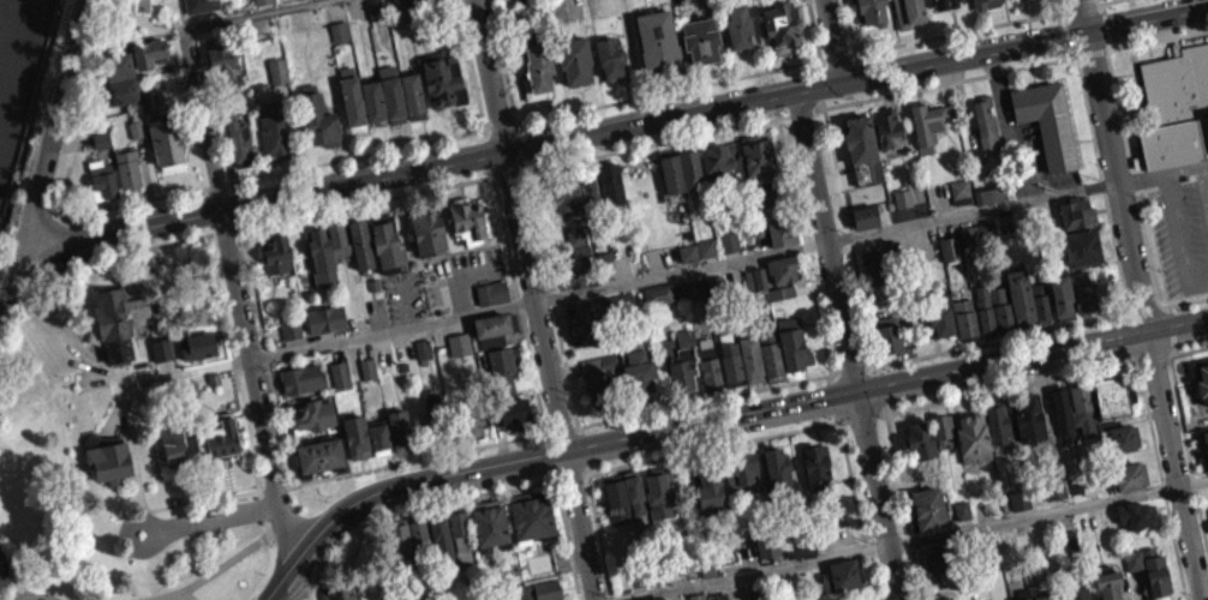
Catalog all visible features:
building: (166, 0)
building: (307, 0)
building: (498, 0)
building: (522, 0)
building: (1015, 0)
building: (263, 1)
building: (426, 1)
road: (1106, 1)
building: (1107, 1)
building: (944, 2)
road: (1098, 2)
building: (202, 4)
building: (979, 4)
road: (1068, 4)
river: (0, 6)
road: (1083, 6)
road: (1070, 8)
road: (1098, 10)
building: (872, 11)
building: (908, 12)
road: (251, 14)
road: (1062, 14)
building: (397, 16)
building: (372, 17)
building: (740, 23)
building: (783, 23)
road: (850, 26)
building: (340, 30)
road: (815, 30)
road: (962, 30)
road: (1102, 34)
road: (1066, 35)
building: (702, 36)
building: (658, 38)
building: (336, 40)
road: (835, 40)
building: (150, 50)
road: (1106, 52)
road: (853, 53)
road: (1072, 54)
building: (611, 55)
road: (838, 56)
road: (1077, 56)
building: (221, 58)
building: (575, 58)
road: (1090, 58)
road: (824, 59)
road: (1104, 59)
flagpole: (1147, 60)
building: (146, 61)
road: (500, 61)
building: (120, 64)
road: (1076, 64)
road: (470, 65)
road: (1105, 65)
building: (538, 70)
building: (276, 71)
building: (384, 80)
building: (443, 80)
traffic signals: (843, 80)
building: (121, 89)
road: (666, 91)
road: (179, 94)
building: (414, 95)
building: (395, 97)
building: (153, 98)
building: (353, 101)
building: (375, 101)
road: (80, 107)
road: (712, 107)
road: (818, 108)
road: (800, 112)
road: (59, 114)
building: (1173, 114)
road: (783, 115)
building: (322, 119)
building: (1047, 120)
building: (985, 121)
road: (510, 124)
building: (927, 124)
road: (498, 126)
building: (137, 127)
building: (887, 127)
road: (485, 128)
road: (1006, 130)
building: (102, 138)
building: (859, 138)
building: (274, 139)
road: (73, 142)
building: (241, 142)
building: (168, 143)
road: (651, 143)
building: (98, 149)
road: (352, 156)
building: (758, 156)
building: (718, 160)
parking lot: (1033, 161)
building: (128, 164)
building: (680, 169)
road: (520, 170)
road: (507, 173)
road: (495, 175)
building: (102, 178)
road: (148, 179)
road: (1161, 180)
building: (610, 181)
road: (214, 184)
building: (592, 186)
road: (1130, 188)
building: (961, 191)
building: (586, 194)
building: (867, 194)
building: (989, 194)
road: (1143, 196)
building: (903, 197)
building: (567, 198)
road: (1202, 199)
building: (958, 200)
road: (364, 202)
road: (118, 203)
building: (987, 204)
building: (761, 206)
building: (901, 208)
building: (1076, 211)
building: (865, 215)
building: (468, 221)
building: (862, 226)
road: (225, 230)
building: (776, 230)
building: (986, 230)
parking lot: (1182, 233)
building: (429, 234)
building: (576, 234)
road: (849, 235)
building: (968, 235)
road: (12, 238)
road: (101, 238)
building: (340, 240)
building: (730, 240)
road: (824, 241)
building: (389, 242)
road: (827, 242)
road: (1176, 242)
building: (363, 245)
building: (574, 245)
road: (803, 245)
building: (707, 246)
building: (891, 246)
building: (1082, 246)
building: (950, 247)
road: (35, 250)
building: (582, 251)
building: (726, 251)
building: (688, 252)
building: (277, 253)
road: (118, 254)
building: (704, 257)
building: (322, 258)
building: (947, 258)
building: (605, 259)
building: (686, 262)
building: (871, 265)
building: (782, 268)
building: (604, 269)
road: (476, 270)
building: (574, 272)
parking lot: (459, 274)
road: (456, 280)
road: (1148, 281)
building: (375, 283)
building: (694, 287)
building: (1083, 289)
building: (781, 290)
building: (491, 292)
building: (662, 292)
building: (757, 293)
building: (1062, 293)
building: (1021, 295)
parking lot: (403, 296)
road: (237, 298)
road: (549, 298)
building: (690, 298)
road: (405, 299)
road: (532, 299)
road: (1136, 300)
road: (1152, 300)
building: (618, 301)
building: (778, 301)
building: (1041, 302)
building: (654, 304)
road: (518, 305)
building: (1001, 306)
road: (1137, 307)
building: (985, 308)
building: (617, 313)
building: (939, 313)
road: (1124, 314)
road: (1166, 317)
building: (120, 318)
building: (325, 318)
building: (965, 319)
building: (585, 323)
road: (1117, 323)
building: (292, 328)
building: (494, 329)
building: (889, 332)
building: (203, 335)
road: (68, 337)
building: (288, 337)
road: (1167, 337)
road: (998, 340)
road: (1120, 340)
building: (460, 343)
building: (165, 346)
building: (794, 346)
building: (886, 347)
building: (424, 348)
road: (1204, 348)
road: (1207, 348)
building: (458, 353)
building: (195, 355)
road: (268, 355)
road: (253, 356)
road: (1171, 358)
building: (160, 359)
building: (420, 359)
building: (681, 359)
building: (504, 360)
building: (772, 361)
building: (599, 362)
building: (752, 362)
road: (1165, 362)
building: (731, 364)
road: (1124, 364)
road: (1149, 364)
building: (402, 366)
road: (868, 366)
building: (369, 367)
building: (710, 367)
road: (851, 368)
building: (639, 371)
road: (835, 372)
building: (340, 373)
building: (365, 377)
building: (215, 378)
building: (303, 378)
road: (524, 382)
building: (337, 383)
building: (602, 388)
building: (1200, 388)
road: (1005, 395)
traffic signals: (853, 397)
road: (702, 400)
building: (1108, 406)
building: (514, 412)
building: (316, 415)
building: (436, 415)
building: (1081, 418)
building: (471, 422)
building: (1059, 422)
road: (717, 424)
road: (245, 425)
road: (859, 425)
road: (574, 426)
building: (1027, 427)
road: (560, 428)
building: (401, 430)
road: (1185, 430)
building: (995, 431)
road: (545, 432)
building: (357, 436)
building: (379, 437)
building: (220, 438)
building: (940, 440)
road: (501, 445)
building: (174, 446)
building: (969, 446)
building: (1122, 448)
road: (1180, 449)
building: (917, 450)
building: (319, 454)
road: (710, 454)
building: (1202, 456)
road: (418, 458)
road: (1198, 458)
building: (109, 461)
road: (1198, 461)
road: (1188, 462)
building: (814, 476)
building: (740, 479)
building: (777, 481)
road: (1158, 484)
road: (274, 485)
road: (567, 485)
building: (1128, 485)
road: (1191, 490)
road: (848, 491)
park: (26, 496)
building: (706, 496)
road: (873, 498)
road: (197, 499)
building: (657, 504)
building: (1018, 508)
building: (622, 509)
road: (898, 510)
road: (417, 516)
road: (209, 517)
building: (926, 517)
building: (959, 518)
building: (1207, 520)
building: (1135, 523)
building: (461, 529)
building: (530, 529)
building: (488, 533)
building: (443, 538)
road: (594, 540)
road: (563, 544)
road: (1206, 545)
road: (915, 546)
road: (1202, 546)
building: (403, 547)
building: (764, 553)
building: (797, 553)
road: (861, 557)
road: (219, 566)
building: (929, 569)
building: (1155, 576)
road: (866, 581)
road: (295, 583)
building: (841, 584)
building: (0, 588)
road: (310, 589)
building: (542, 590)
building: (1106, 590)
building: (341, 592)
road: (299, 593)
road: (180, 596)
building: (503, 596)
building: (1033, 596)
building: (1077, 598)
building: (1019, 599)

